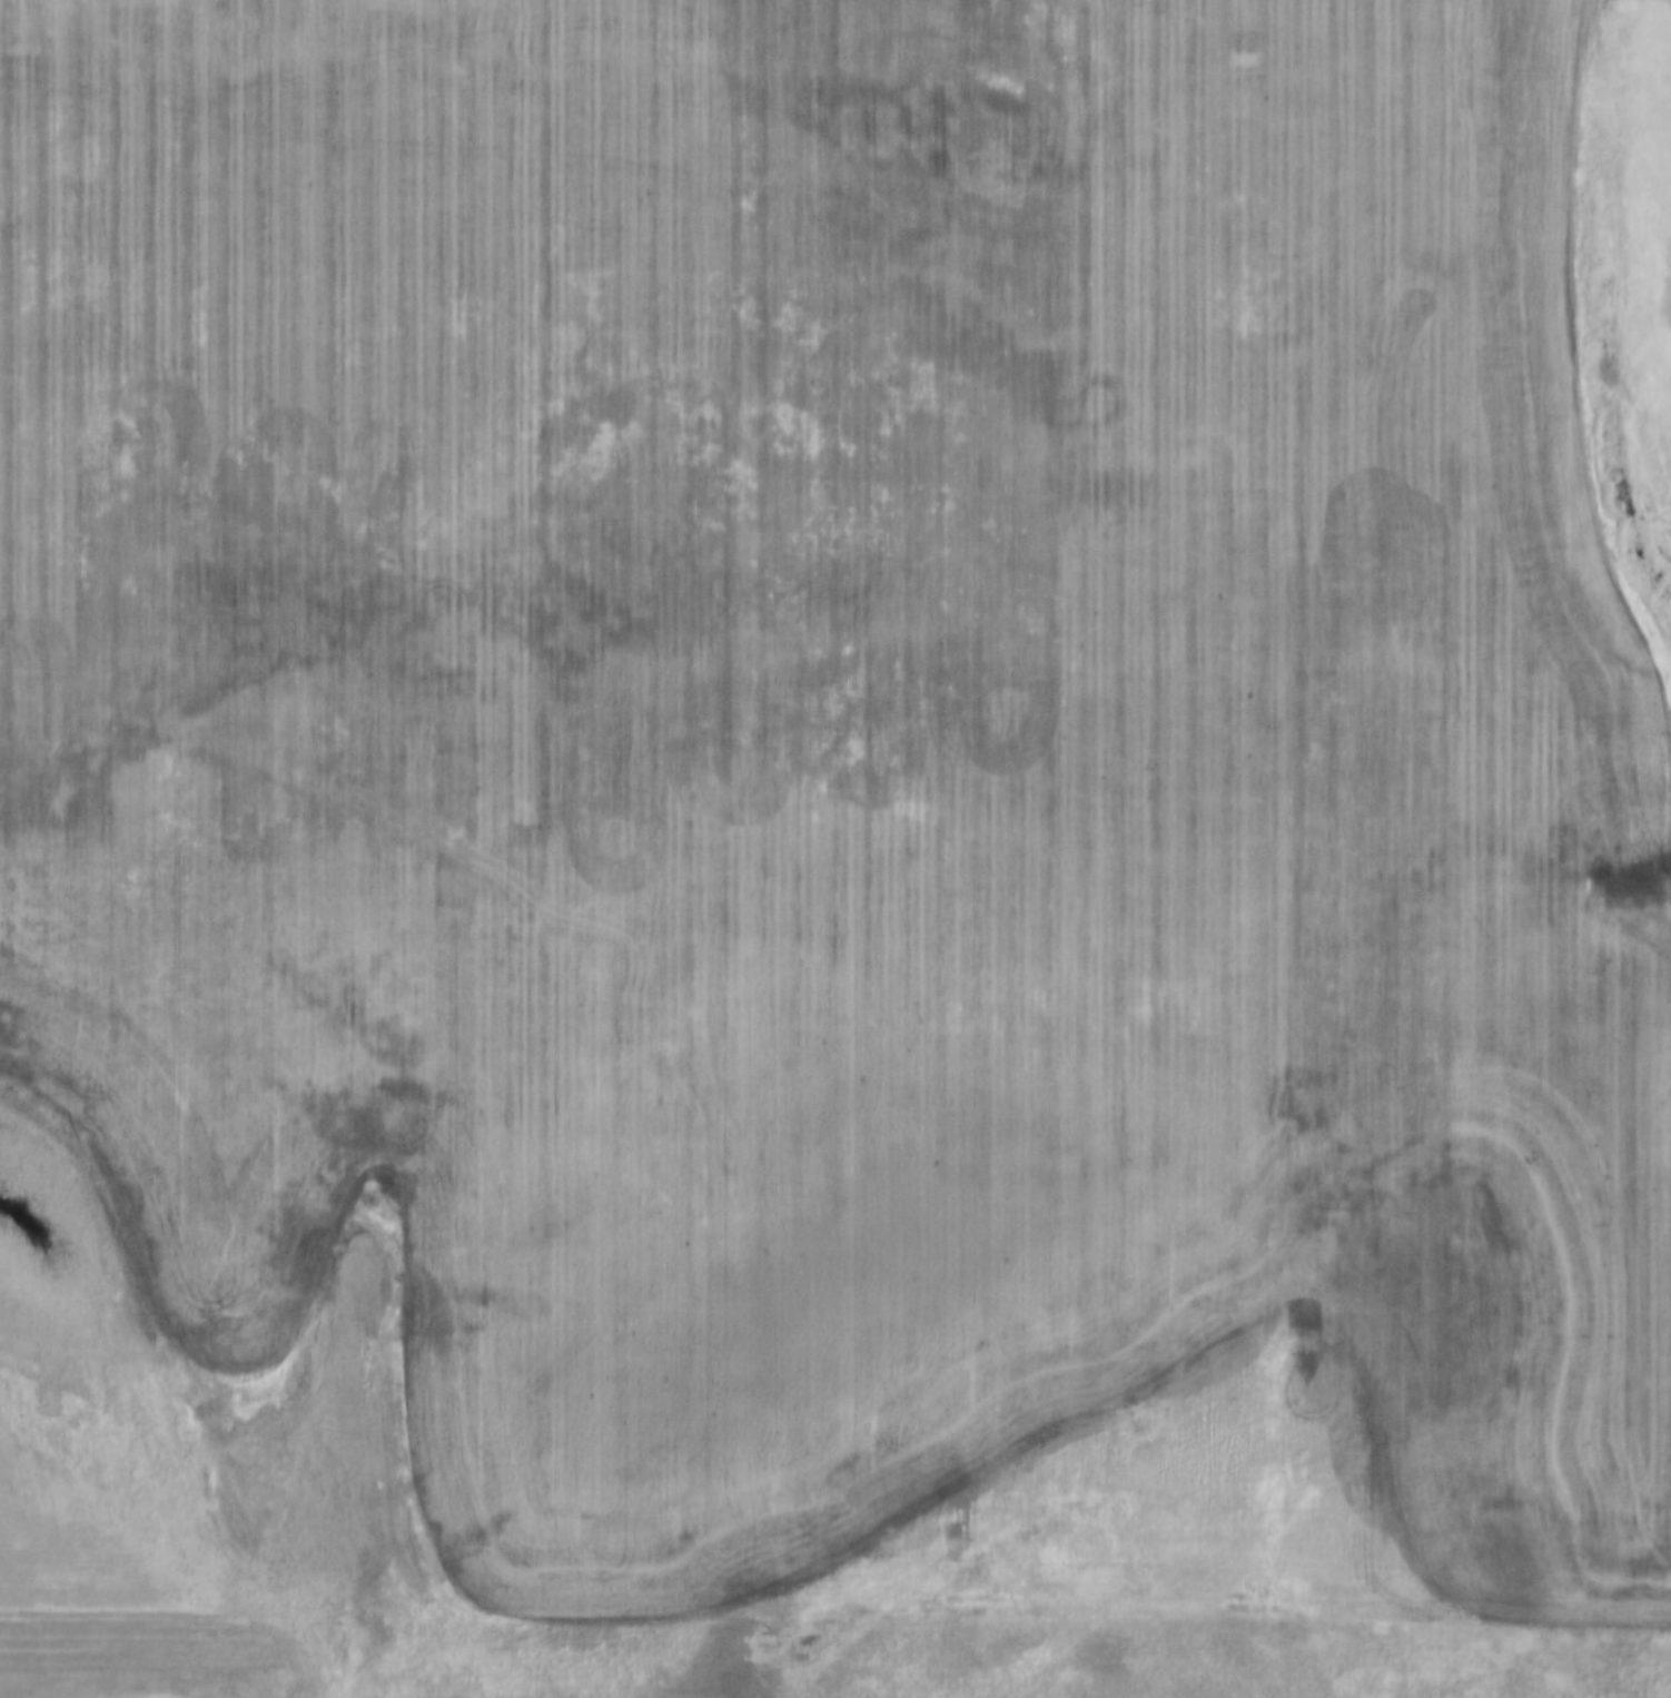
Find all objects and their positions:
road: (1584, 333)
road: (1664, 743)

